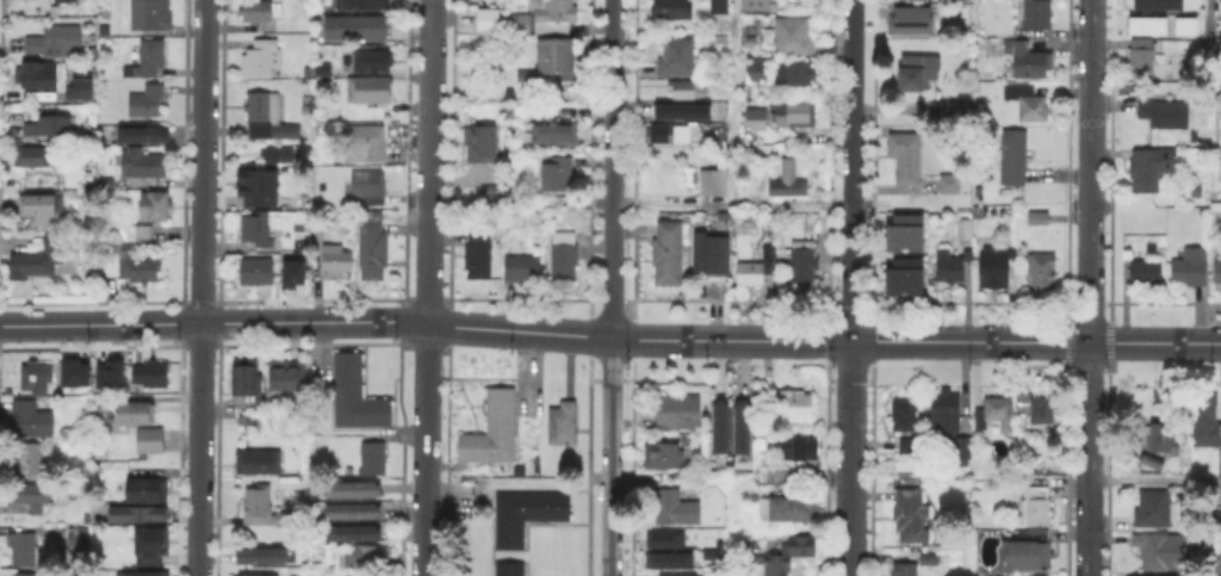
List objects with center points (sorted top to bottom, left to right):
building: (30, 0)
building: (66, 1)
building: (359, 2)
building: (1155, 4)
building: (754, 6)
building: (719, 7)
building: (552, 11)
building: (669, 11)
building: (264, 12)
building: (151, 16)
building: (1035, 16)
building: (485, 18)
building: (907, 18)
road: (1208, 18)
building: (519, 24)
building: (1145, 24)
building: (1183, 24)
building: (355, 30)
building: (788, 37)
building: (57, 41)
building: (750, 43)
building: (1140, 57)
building: (149, 58)
building: (264, 58)
building: (676, 58)
building: (550, 60)
building: (1025, 60)
building: (374, 63)
building: (320, 67)
building: (305, 69)
building: (915, 70)
building: (756, 72)
building: (793, 75)
building: (39, 76)
building: (522, 76)
building: (372, 91)
building: (682, 91)
building: (510, 93)
road: (732, 101)
building: (148, 103)
building: (1025, 104)
building: (678, 110)
building: (957, 113)
building: (1165, 116)
building: (793, 117)
building: (268, 119)
building: (746, 123)
building: (52, 128)
building: (671, 134)
building: (147, 137)
building: (547, 137)
building: (365, 145)
building: (479, 153)
building: (279, 155)
building: (901, 155)
building: (35, 159)
building: (1014, 159)
building: (145, 165)
building: (1148, 169)
building: (556, 174)
building: (783, 180)
building: (947, 181)
building: (709, 185)
building: (260, 188)
building: (368, 188)
road: (639, 204)
building: (289, 205)
building: (157, 209)
building: (42, 211)
building: (1039, 218)
building: (963, 229)
building: (259, 231)
building: (903, 231)
building: (145, 234)
building: (321, 242)
building: (376, 253)
building: (478, 253)
building: (665, 253)
building: (562, 256)
building: (712, 258)
building: (50, 261)
building: (341, 261)
building: (801, 262)
building: (754, 266)
building: (135, 268)
building: (253, 268)
building: (520, 268)
building: (947, 268)
building: (1189, 268)
building: (992, 270)
building: (1041, 271)
building: (1217, 271)
building: (291, 272)
building: (1145, 274)
building: (901, 275)
road: (200, 287)
road: (427, 287)
road: (613, 287)
road: (851, 287)
road: (1089, 287)
road: (213, 323)
road: (638, 340)
road: (1016, 342)
road: (1201, 343)
building: (72, 372)
building: (107, 372)
building: (148, 372)
building: (284, 373)
building: (38, 378)
building: (248, 380)
building: (352, 394)
building: (791, 404)
building: (136, 409)
building: (1042, 410)
building: (946, 411)
building: (675, 413)
building: (996, 413)
building: (87, 414)
building: (904, 415)
building: (33, 420)
building: (250, 421)
building: (1204, 422)
building: (559, 425)
building: (719, 425)
building: (742, 425)
building: (491, 432)
building: (1163, 433)
building: (149, 439)
building: (910, 446)
building: (961, 448)
building: (797, 450)
building: (661, 459)
building: (376, 460)
building: (36, 462)
building: (1152, 462)
building: (261, 464)
road: (1154, 478)
building: (351, 489)
building: (149, 493)
building: (748, 495)
building: (33, 500)
building: (258, 504)
building: (1037, 504)
building: (1157, 508)
building: (351, 509)
building: (674, 509)
building: (787, 509)
building: (137, 514)
building: (910, 515)
building: (525, 516)
building: (1216, 519)
road: (726, 525)
building: (351, 533)
building: (81, 538)
building: (662, 538)
building: (717, 541)
building: (148, 543)
building: (1029, 547)
building: (1152, 549)
building: (25, 550)
building: (708, 552)
building: (260, 553)
building: (785, 553)
building: (365, 557)
building: (667, 558)
building: (930, 559)
building: (1217, 564)
building: (508, 569)
building: (905, 569)
building: (25, 574)
building: (142, 574)
building: (252, 574)
building: (676, 574)
building: (1042, 574)
building: (1152, 575)

